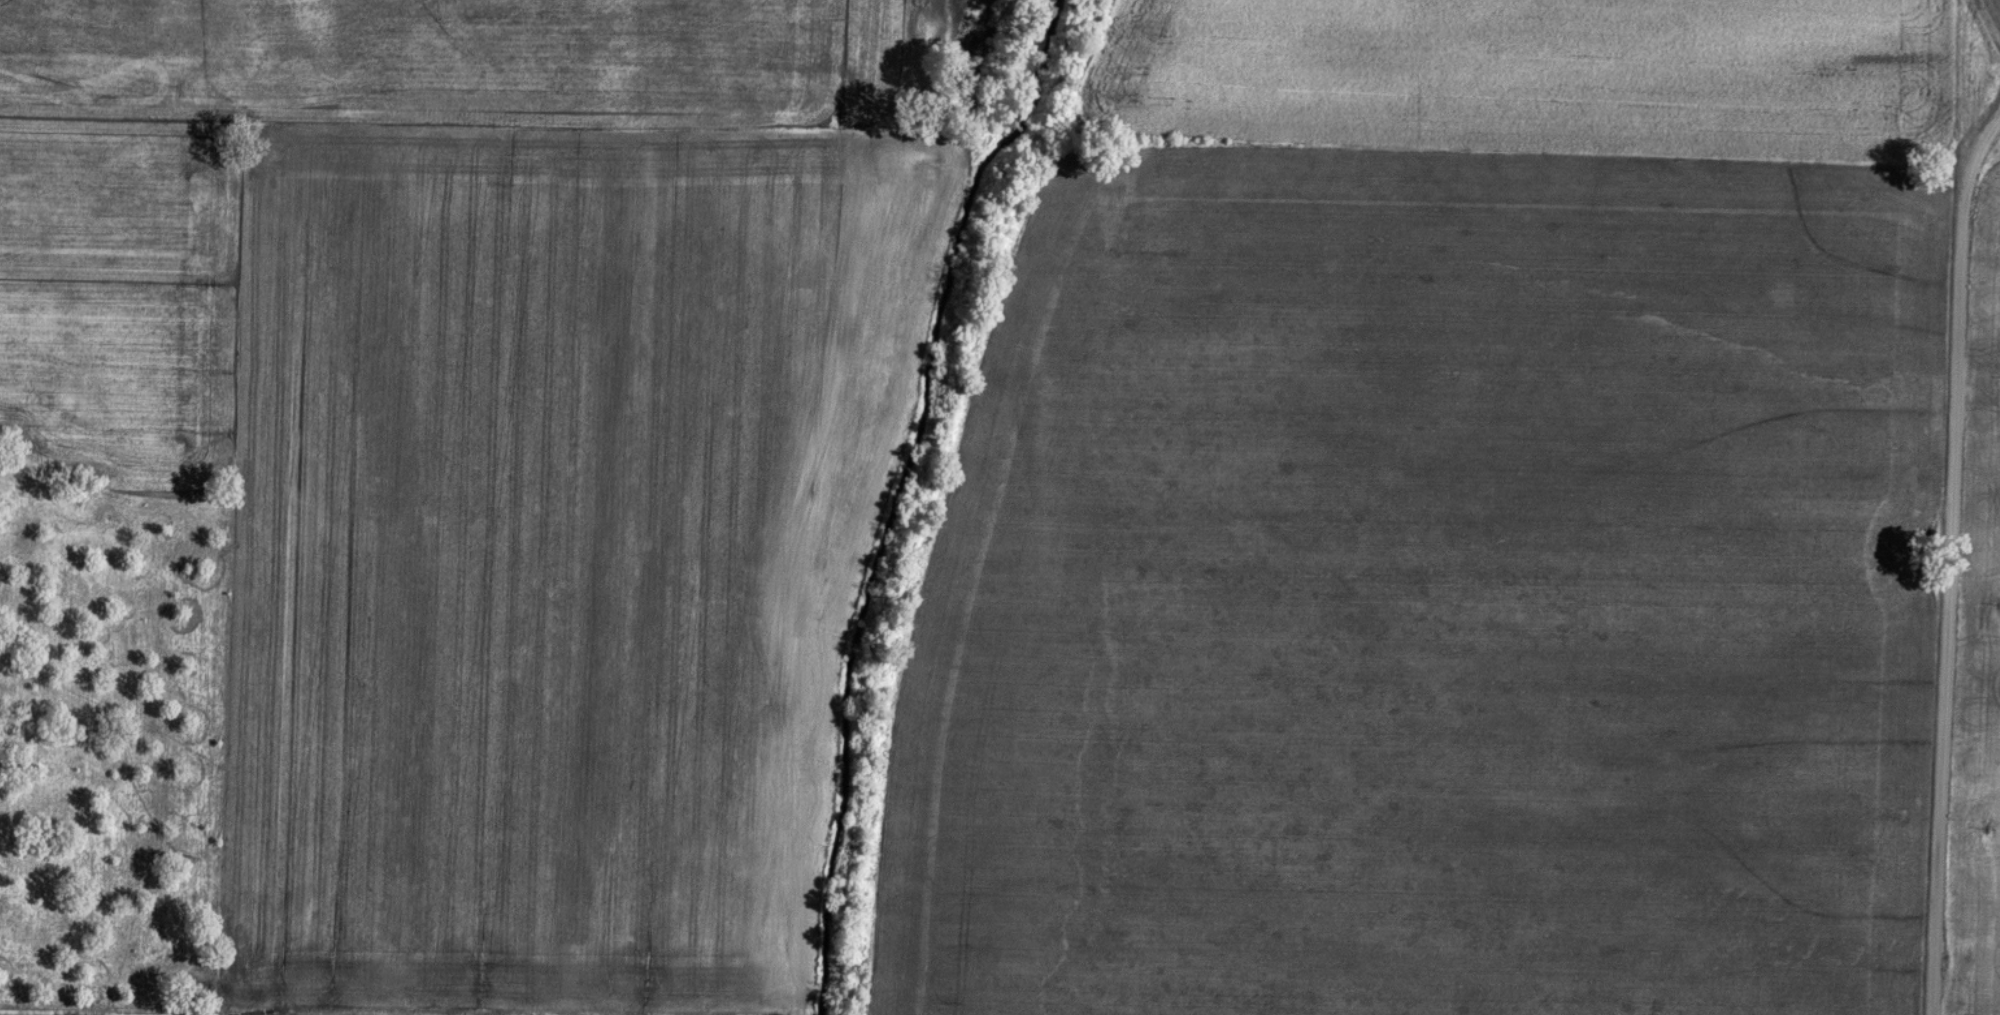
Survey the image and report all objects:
road: (1993, 10)
road: (1949, 564)

